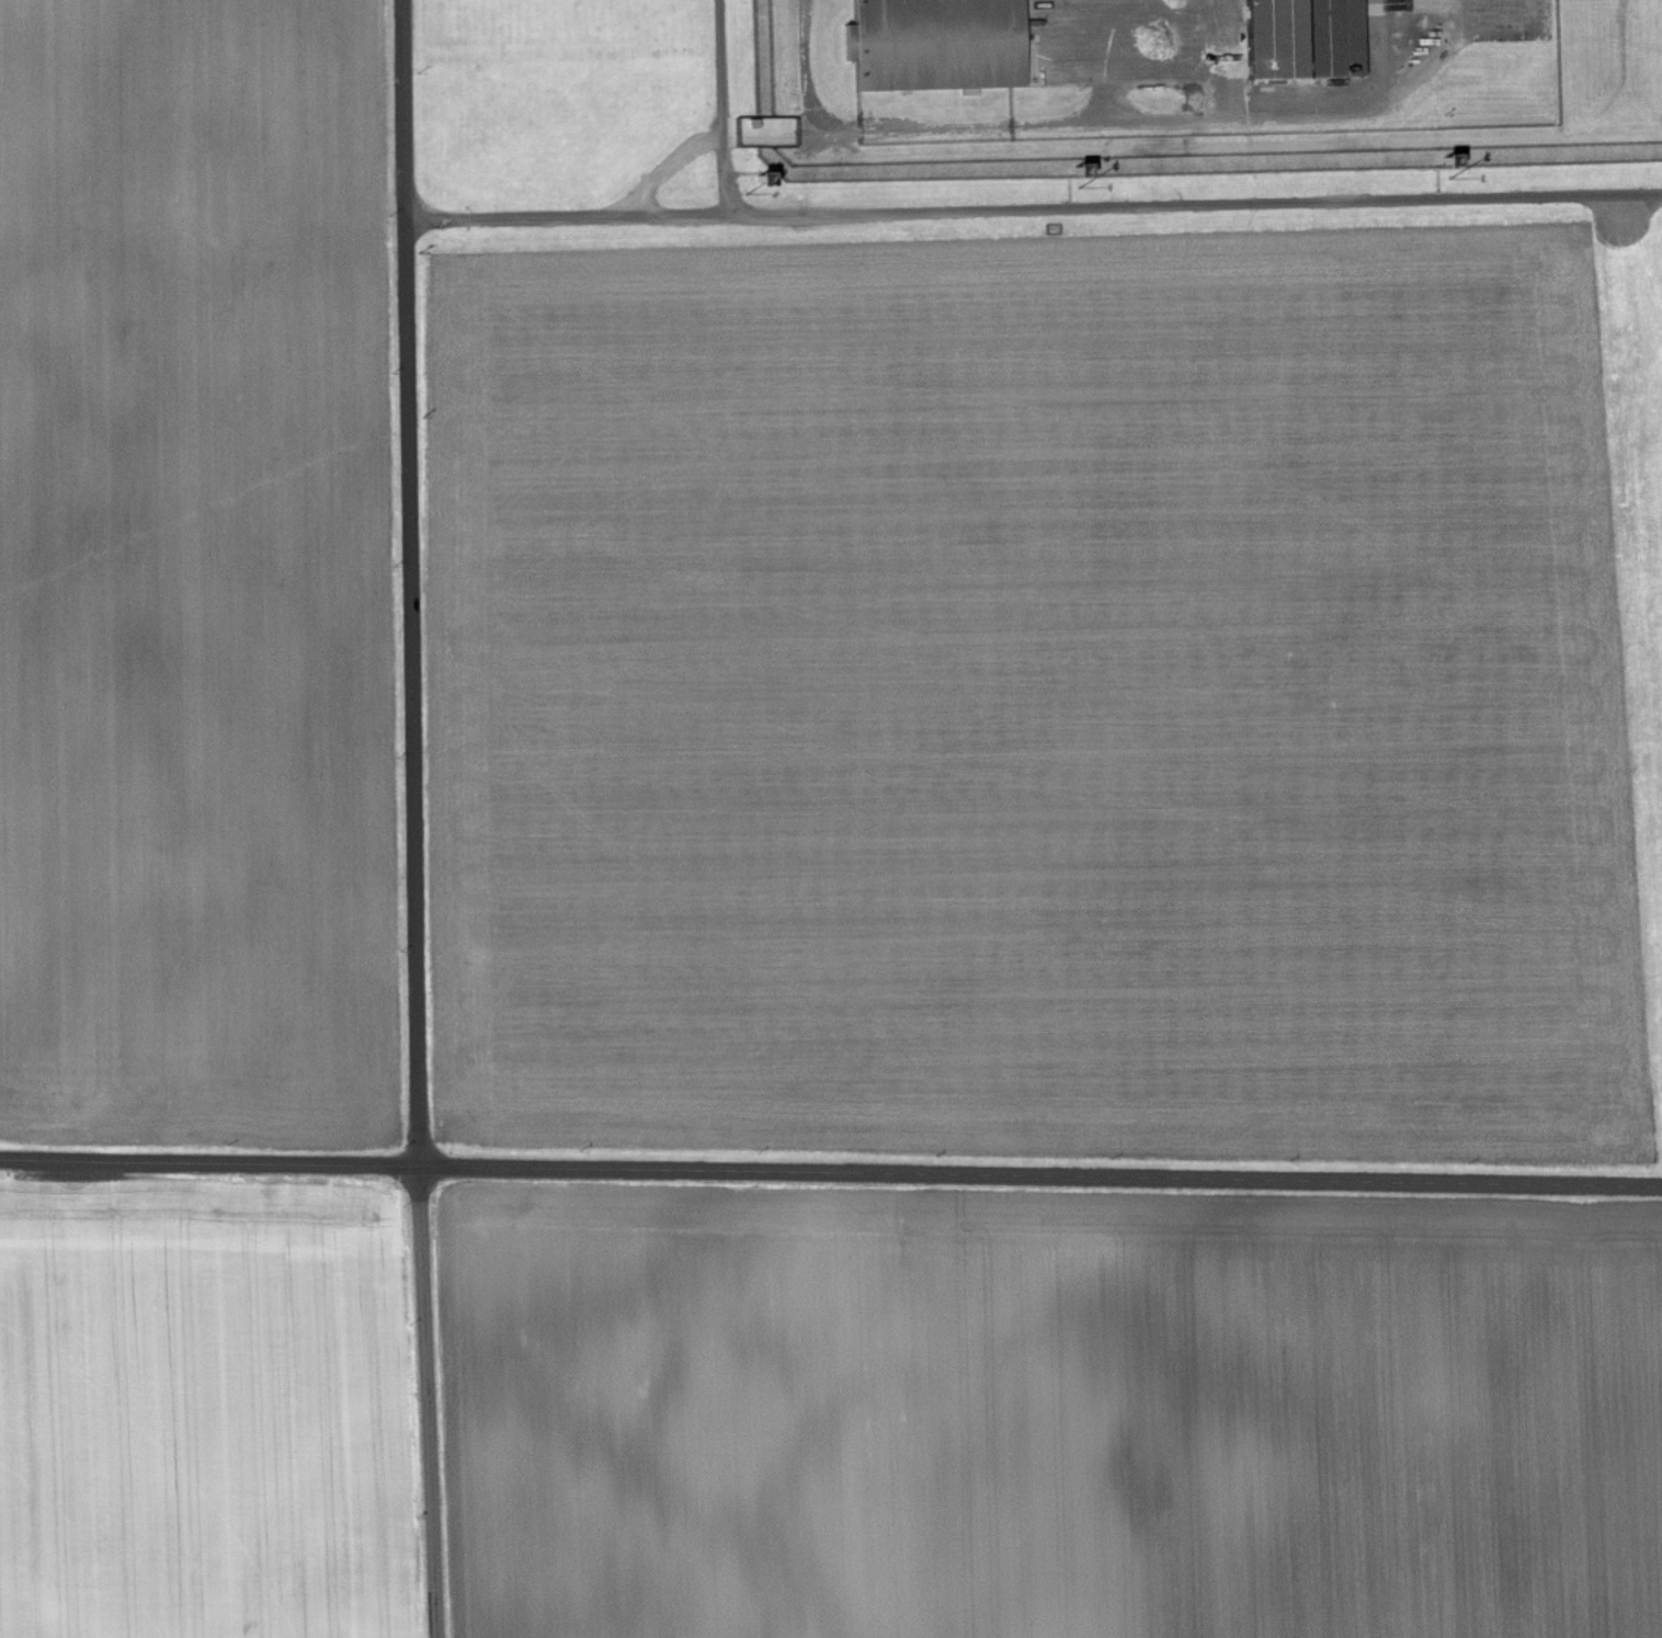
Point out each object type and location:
building: (1306, 39)
building: (938, 45)
road: (1093, 203)
road: (570, 211)
road: (414, 819)
road: (830, 1175)

